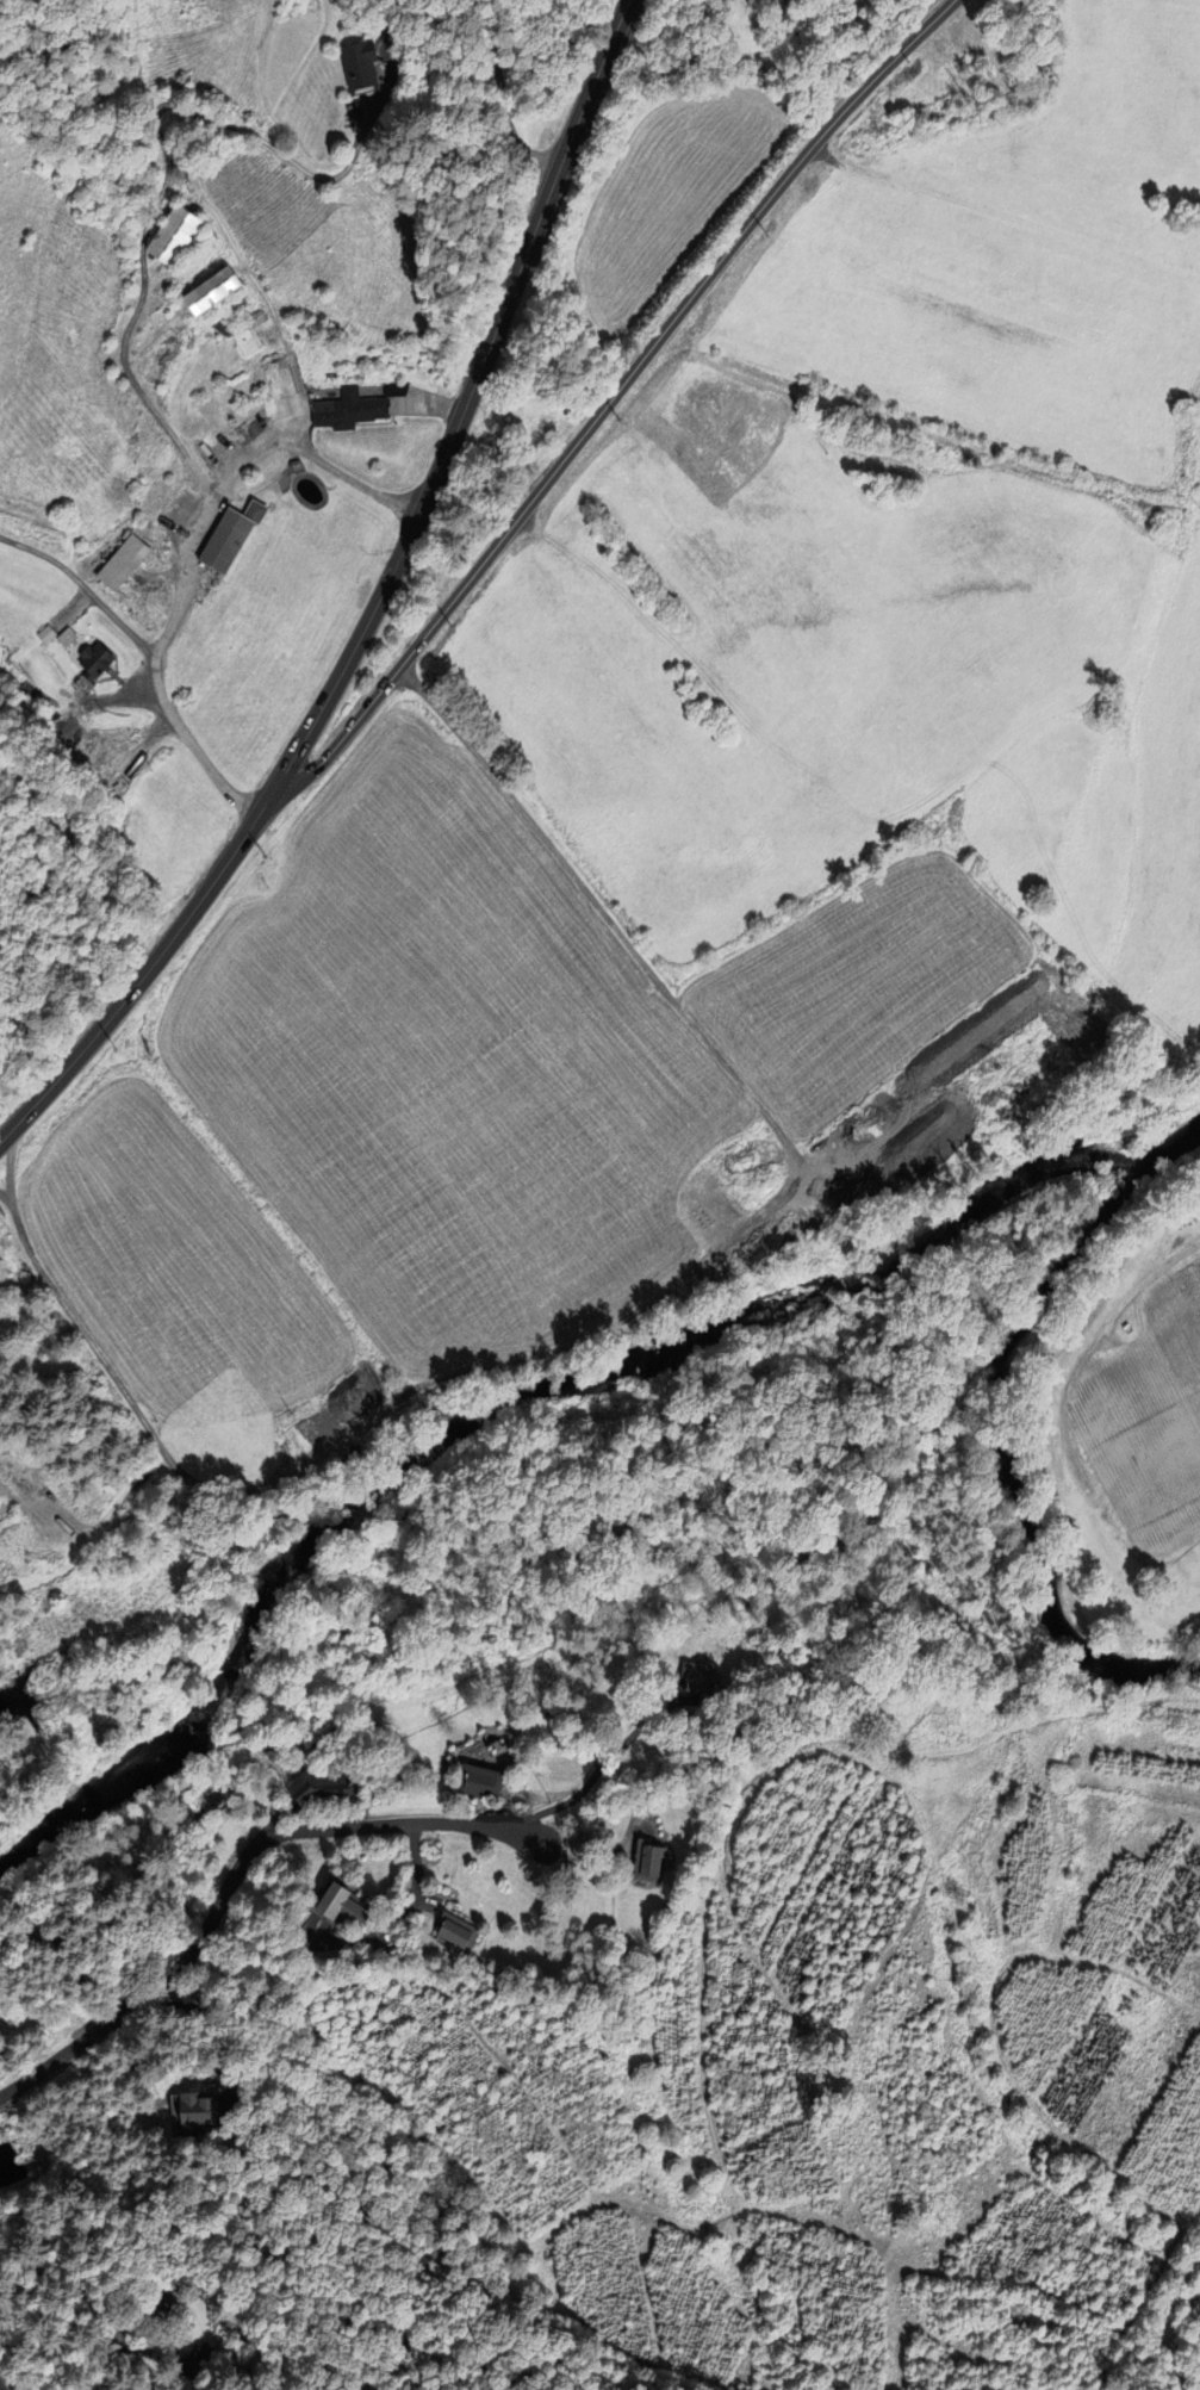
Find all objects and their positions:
building: (354, 64)
road: (163, 185)
building: (166, 236)
building: (206, 291)
building: (248, 335)
road: (614, 397)
building: (343, 411)
building: (224, 538)
road: (189, 551)
building: (116, 563)
road: (82, 585)
road: (377, 606)
road: (605, 921)
river: (1175, 1138)
building: (835, 1153)
river: (788, 1303)
river: (214, 1658)
building: (692, 1678)
building: (479, 1782)
building: (332, 1796)
building: (646, 1862)
road: (232, 1874)
building: (346, 1910)
road: (398, 1913)
building: (452, 1932)
road: (209, 2022)
building: (195, 2109)
building: (168, 2307)
road: (144, 2348)
road: (4, 2384)

